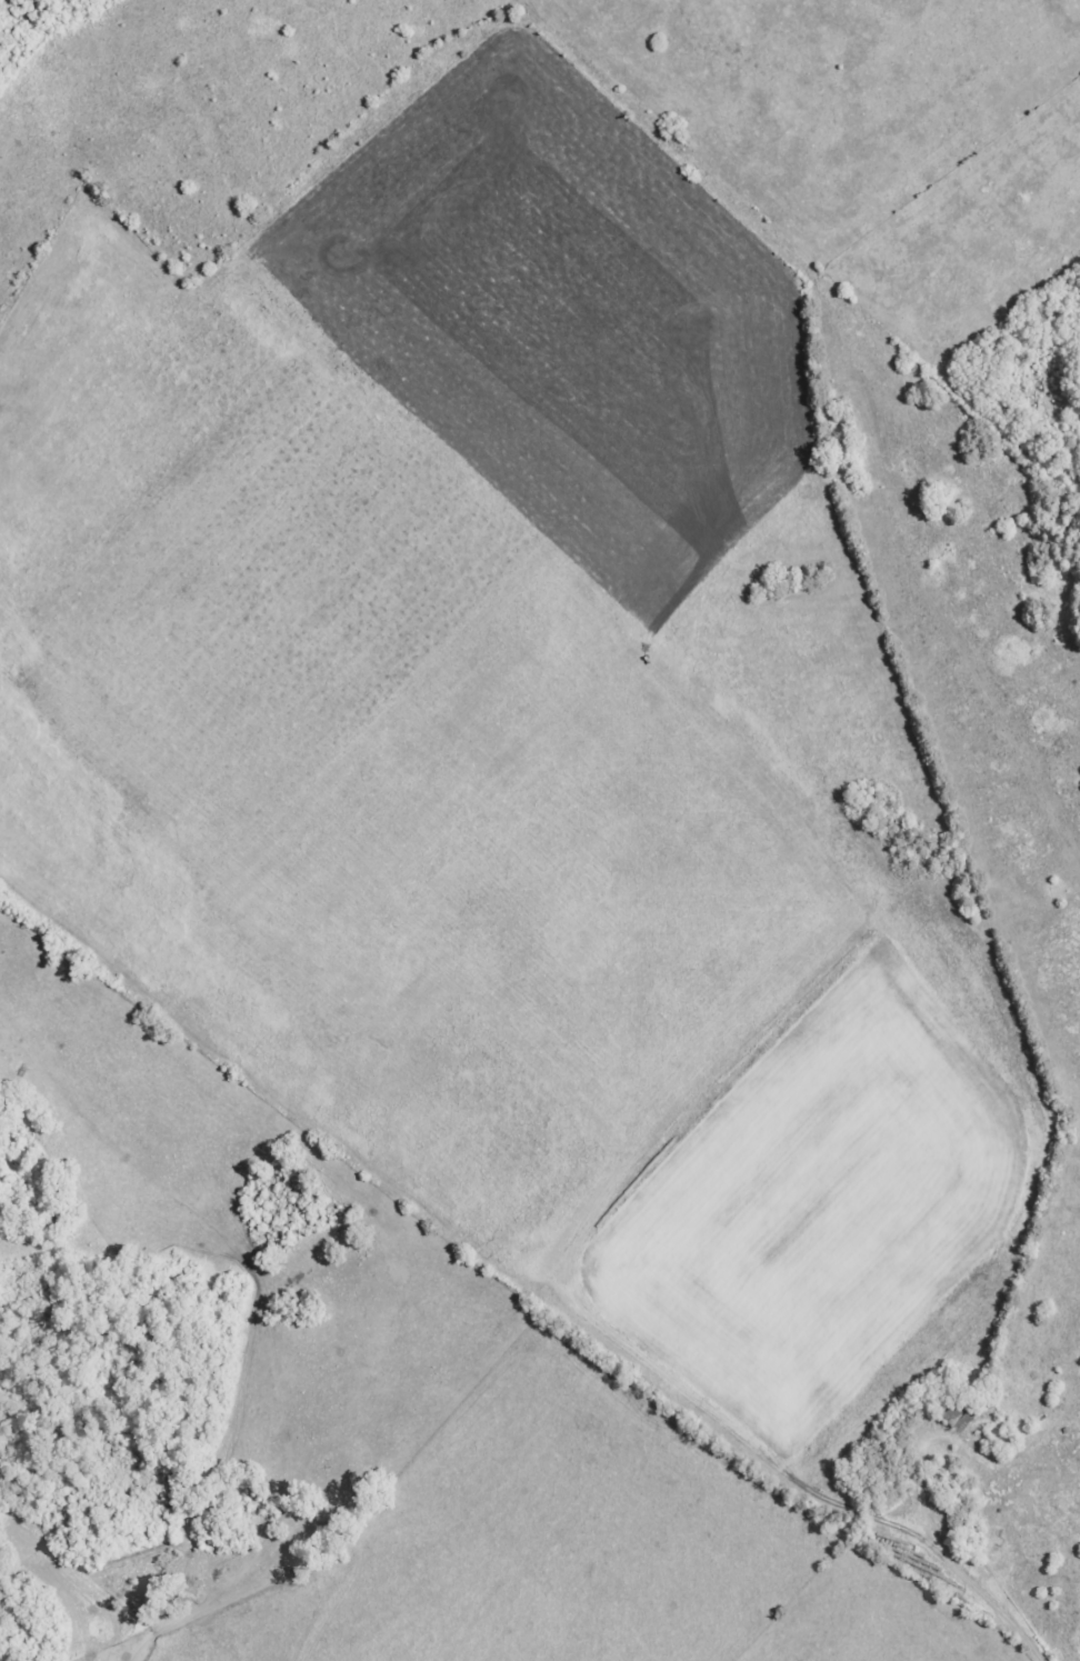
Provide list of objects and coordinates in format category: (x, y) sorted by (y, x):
road: (1003, 1594)

